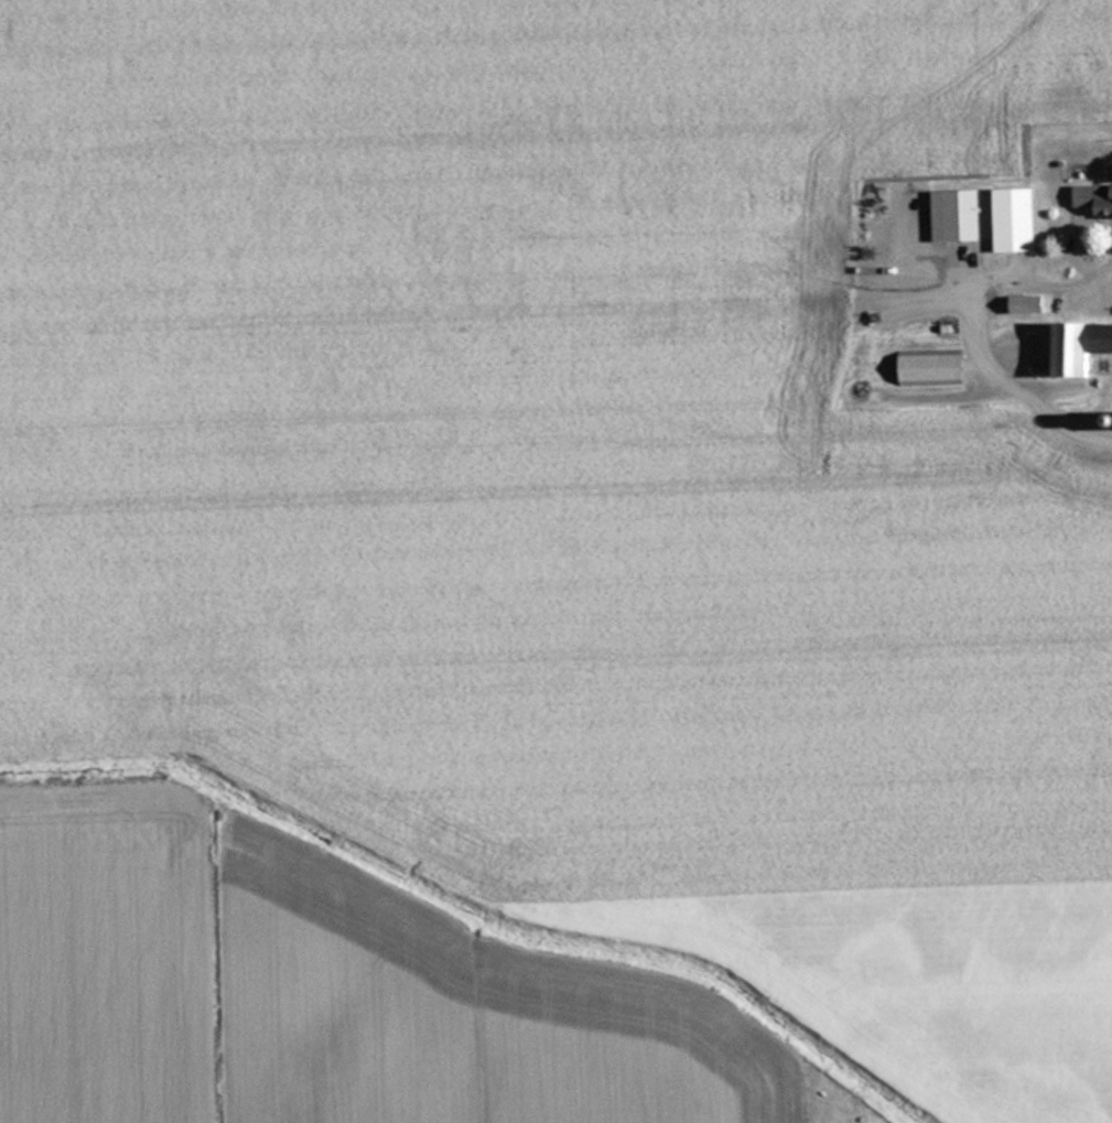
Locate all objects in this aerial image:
building: (1095, 198)
building: (959, 214)
building: (1016, 219)
building: (1028, 303)
building: (1082, 347)
building: (933, 367)

